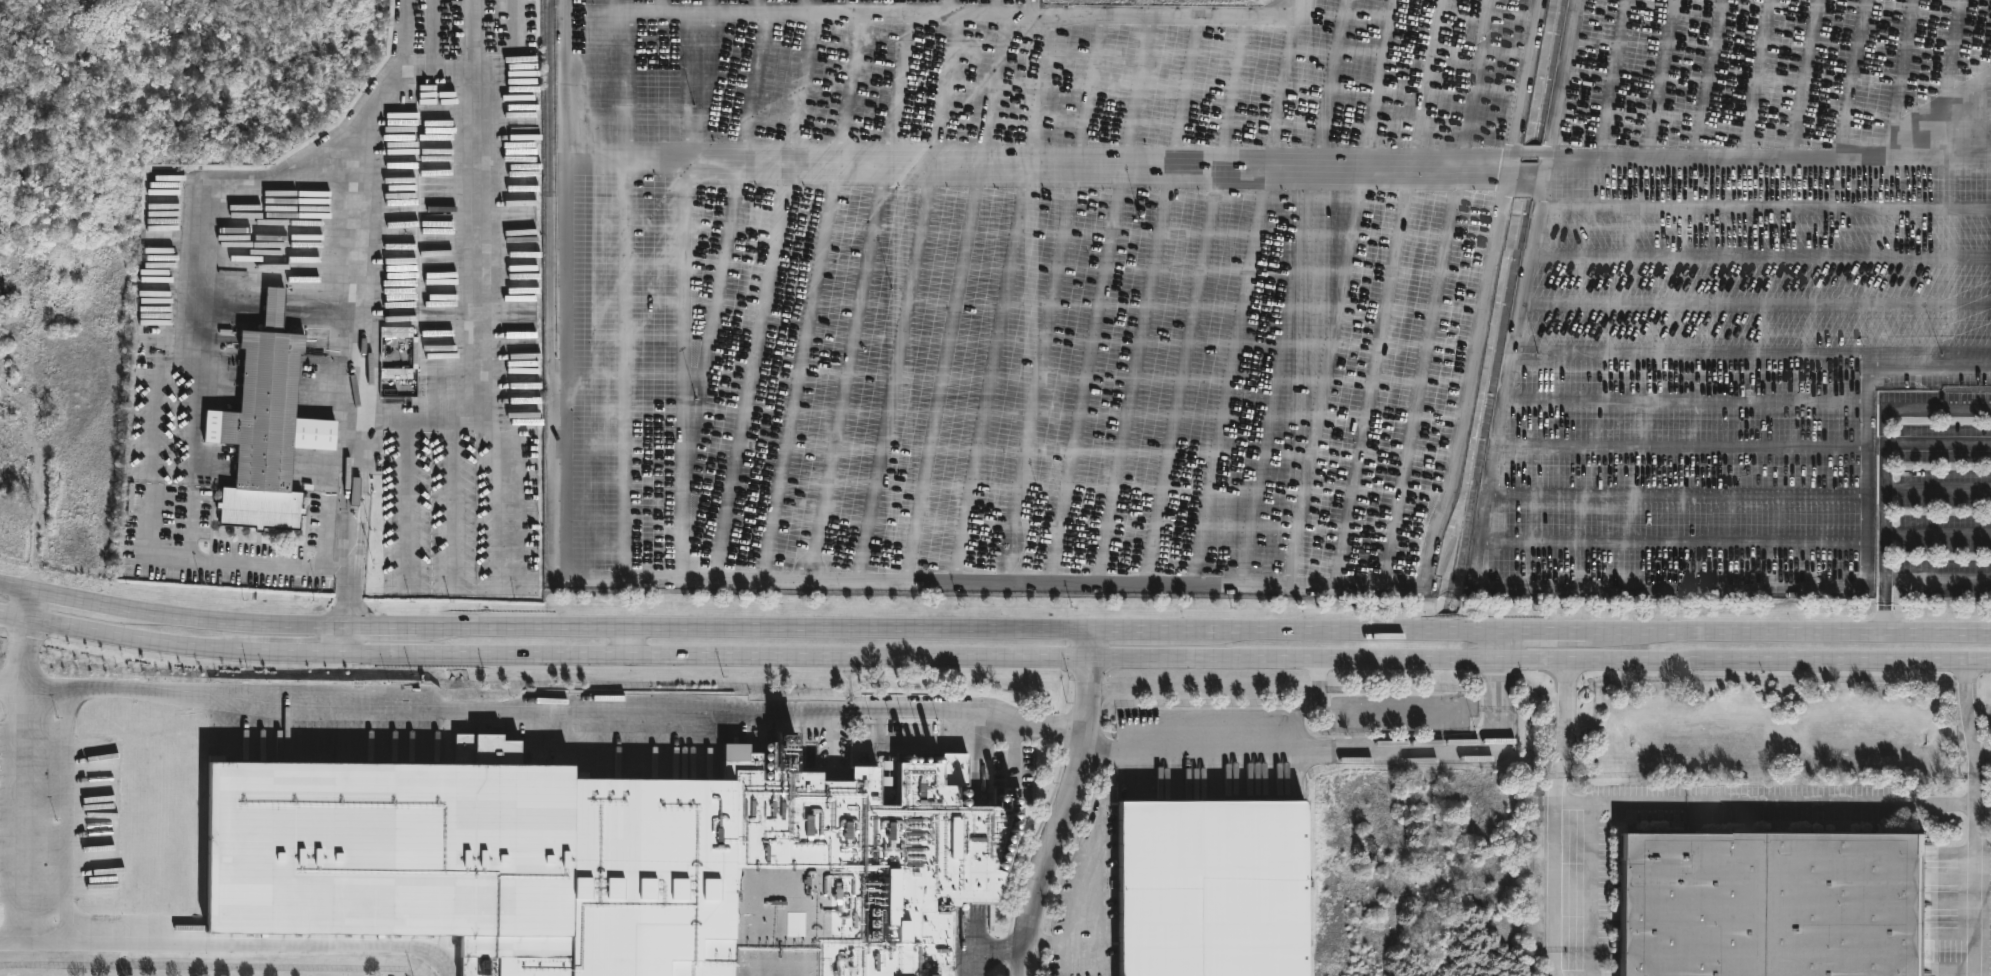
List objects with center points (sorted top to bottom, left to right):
road: (564, 4)
road: (670, 4)
road: (717, 5)
road: (764, 5)
road: (813, 5)
road: (899, 5)
road: (946, 6)
road: (991, 6)
road: (1033, 6)
road: (939, 11)
road: (400, 72)
road: (1043, 81)
road: (1038, 151)
road: (1787, 162)
road: (1534, 238)
road: (803, 365)
building: (416, 382)
building: (266, 427)
road: (1886, 440)
road: (1691, 446)
road: (1938, 446)
road: (1938, 493)
road: (1484, 529)
parking lot: (1763, 530)
road: (1938, 535)
road: (324, 537)
road: (276, 565)
road: (947, 581)
road: (1669, 581)
road: (1938, 581)
road: (34, 605)
road: (1886, 608)
road: (993, 631)
road: (343, 639)
road: (632, 644)
road: (1499, 648)
road: (993, 659)
road: (11, 685)
road: (1499, 706)
road: (553, 707)
road: (1363, 713)
road: (1969, 716)
road: (1565, 717)
road: (924, 742)
road: (1290, 749)
road: (1062, 804)
road: (1767, 805)
road: (65, 816)
building: (600, 864)
road: (1561, 874)
road: (1971, 874)
building: (1210, 885)
road: (1086, 899)
building: (1763, 905)
road: (16, 940)
road: (981, 940)
road: (88, 943)
building: (1107, 962)

